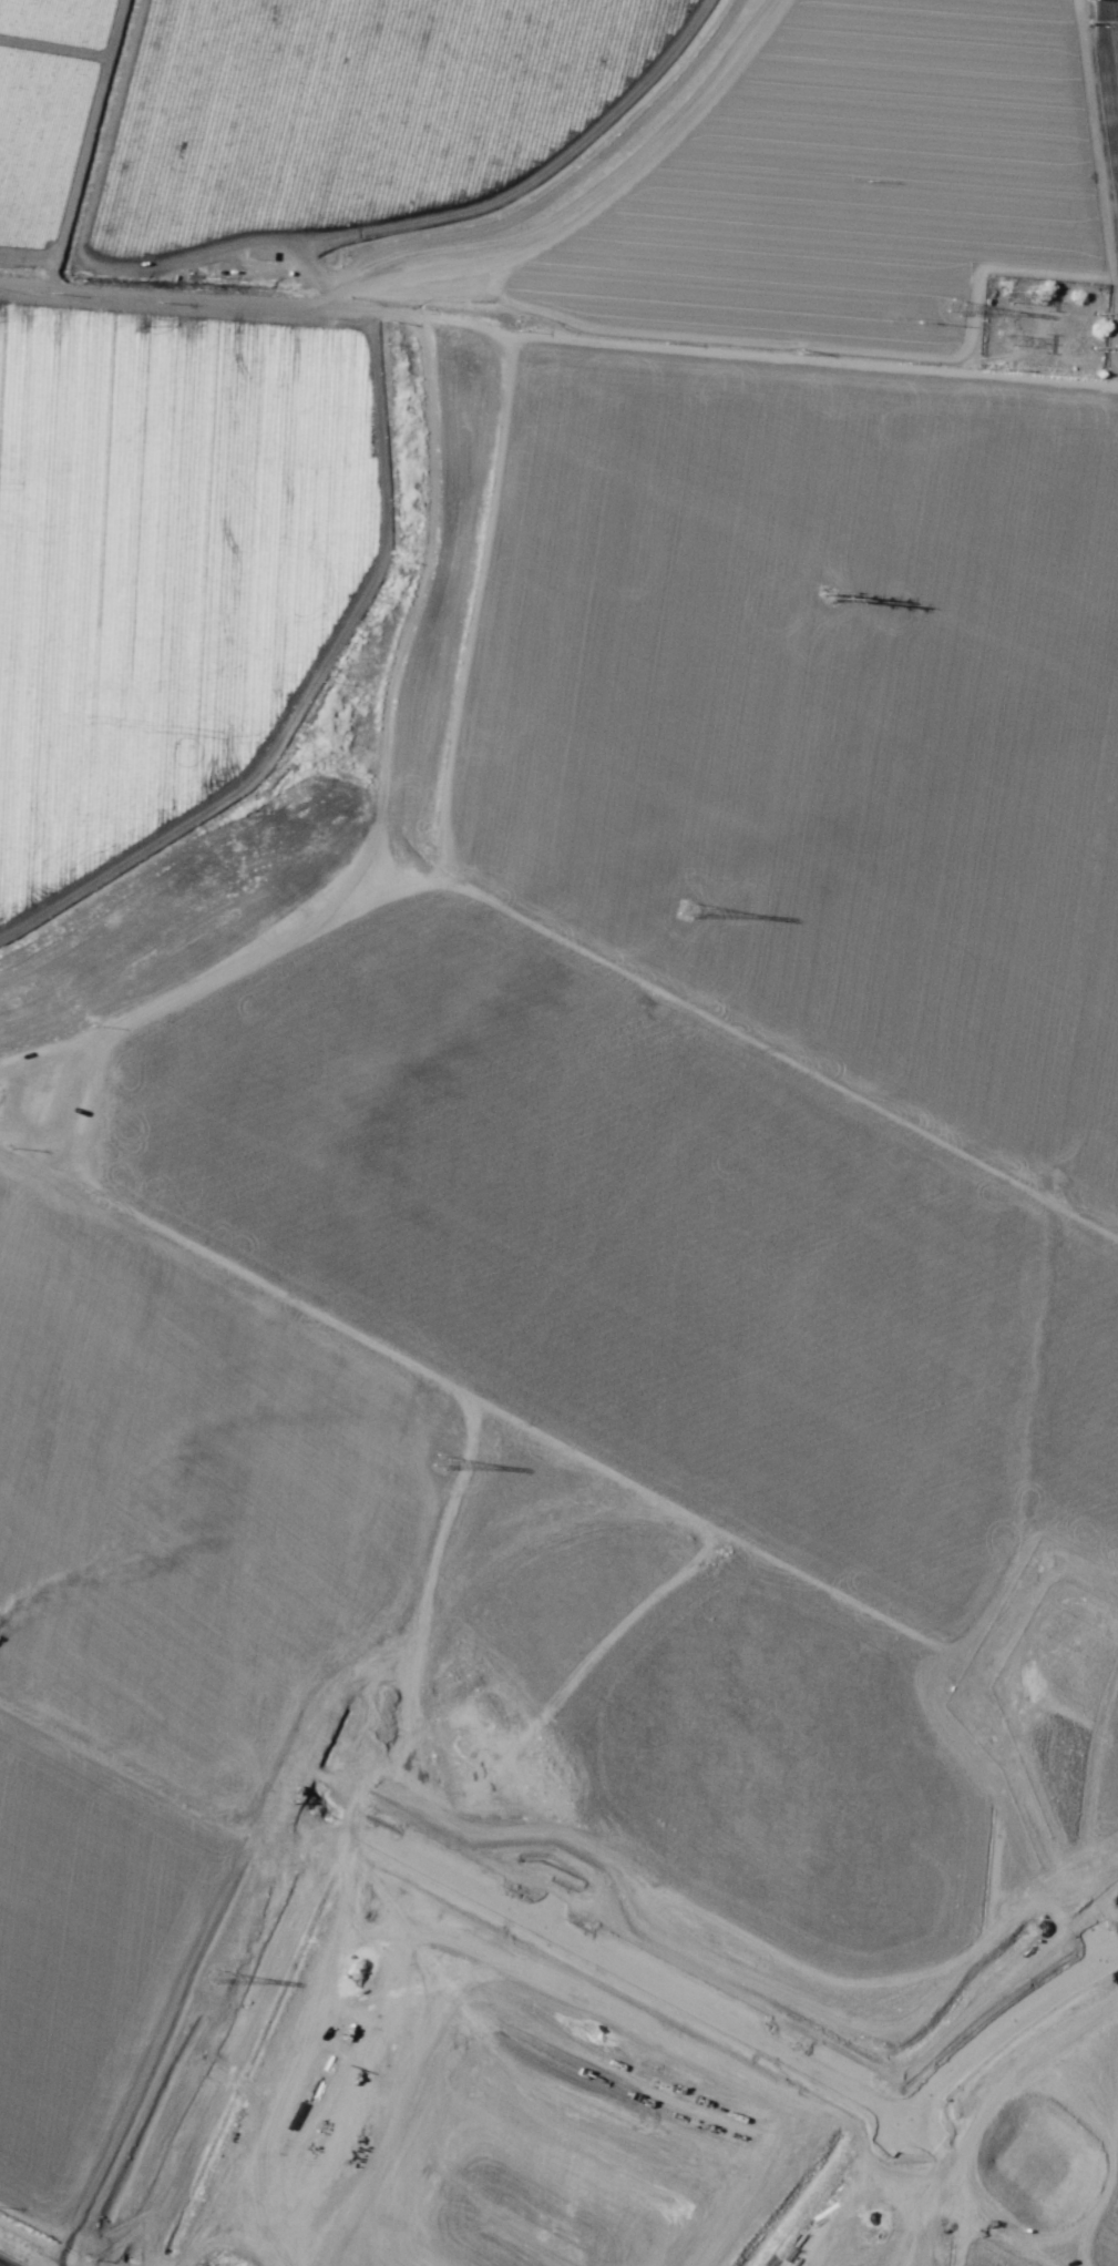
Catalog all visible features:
power tower: (1008, 296)
power tower: (953, 306)
road: (457, 320)
power tower: (1005, 338)
power tower: (685, 911)
crop: (577, 1156)
power tower: (442, 1463)
power tower: (212, 1977)

